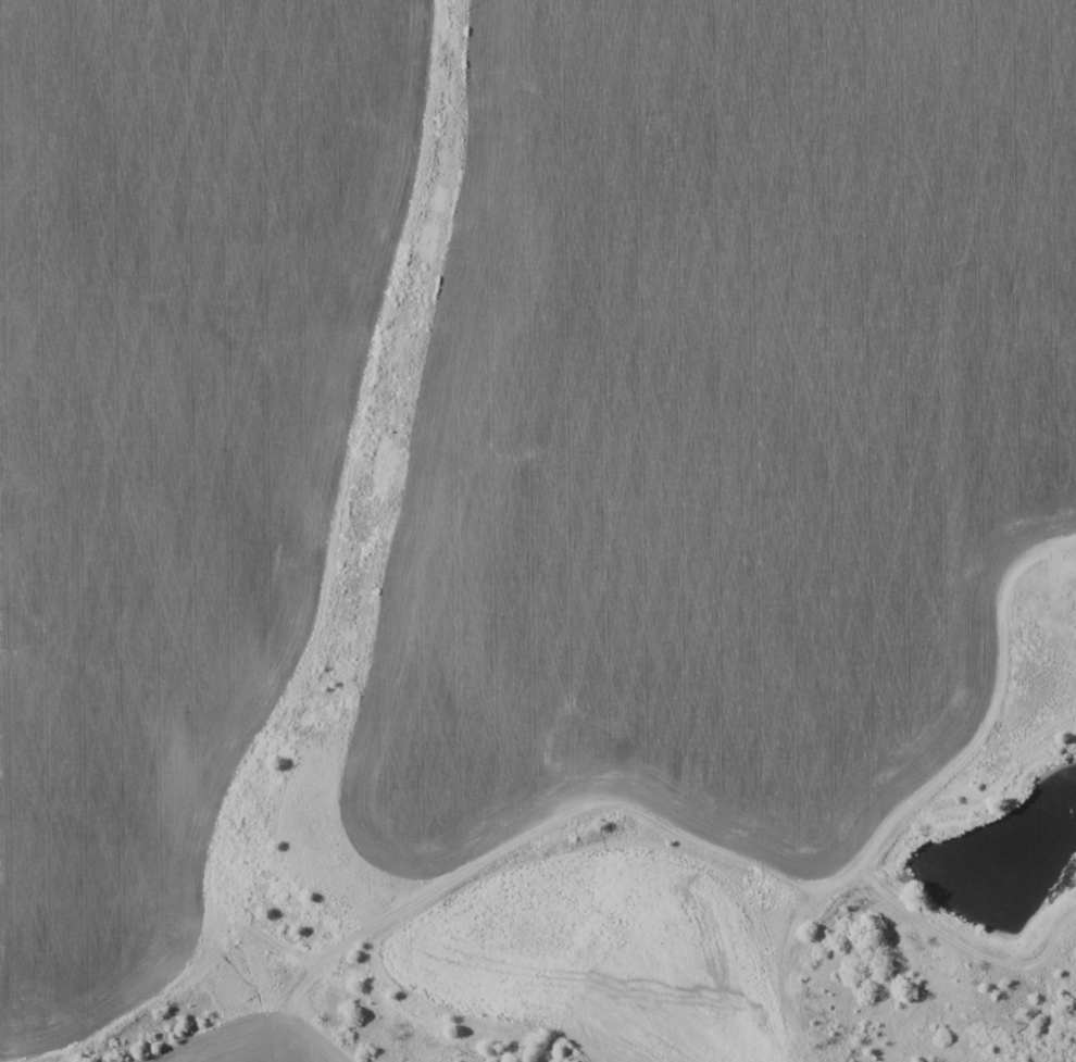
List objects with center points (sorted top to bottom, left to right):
road: (991, 707)
road: (785, 949)

